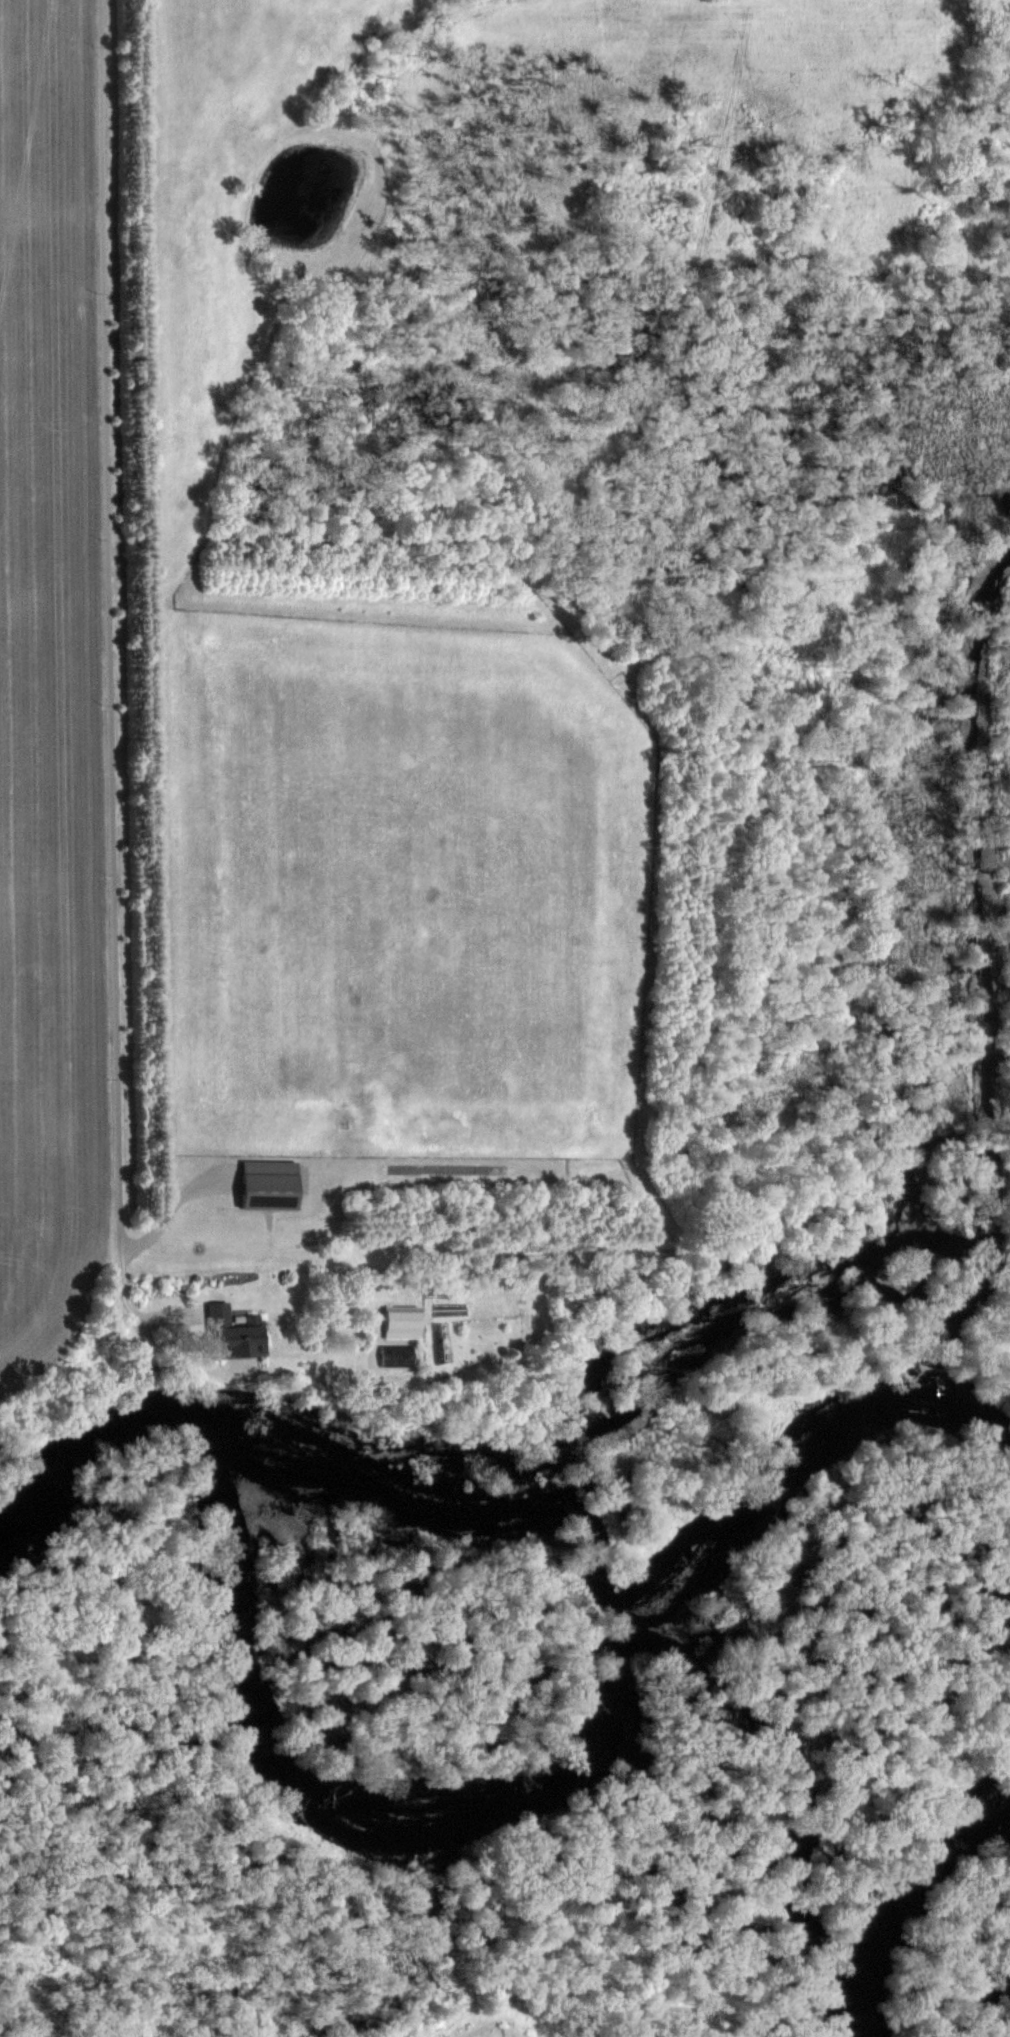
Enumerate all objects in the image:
road: (102, 640)
building: (267, 1183)
road: (172, 1211)
road: (150, 1313)
building: (390, 1320)
building: (229, 1332)
river: (440, 1814)
river: (888, 1895)

